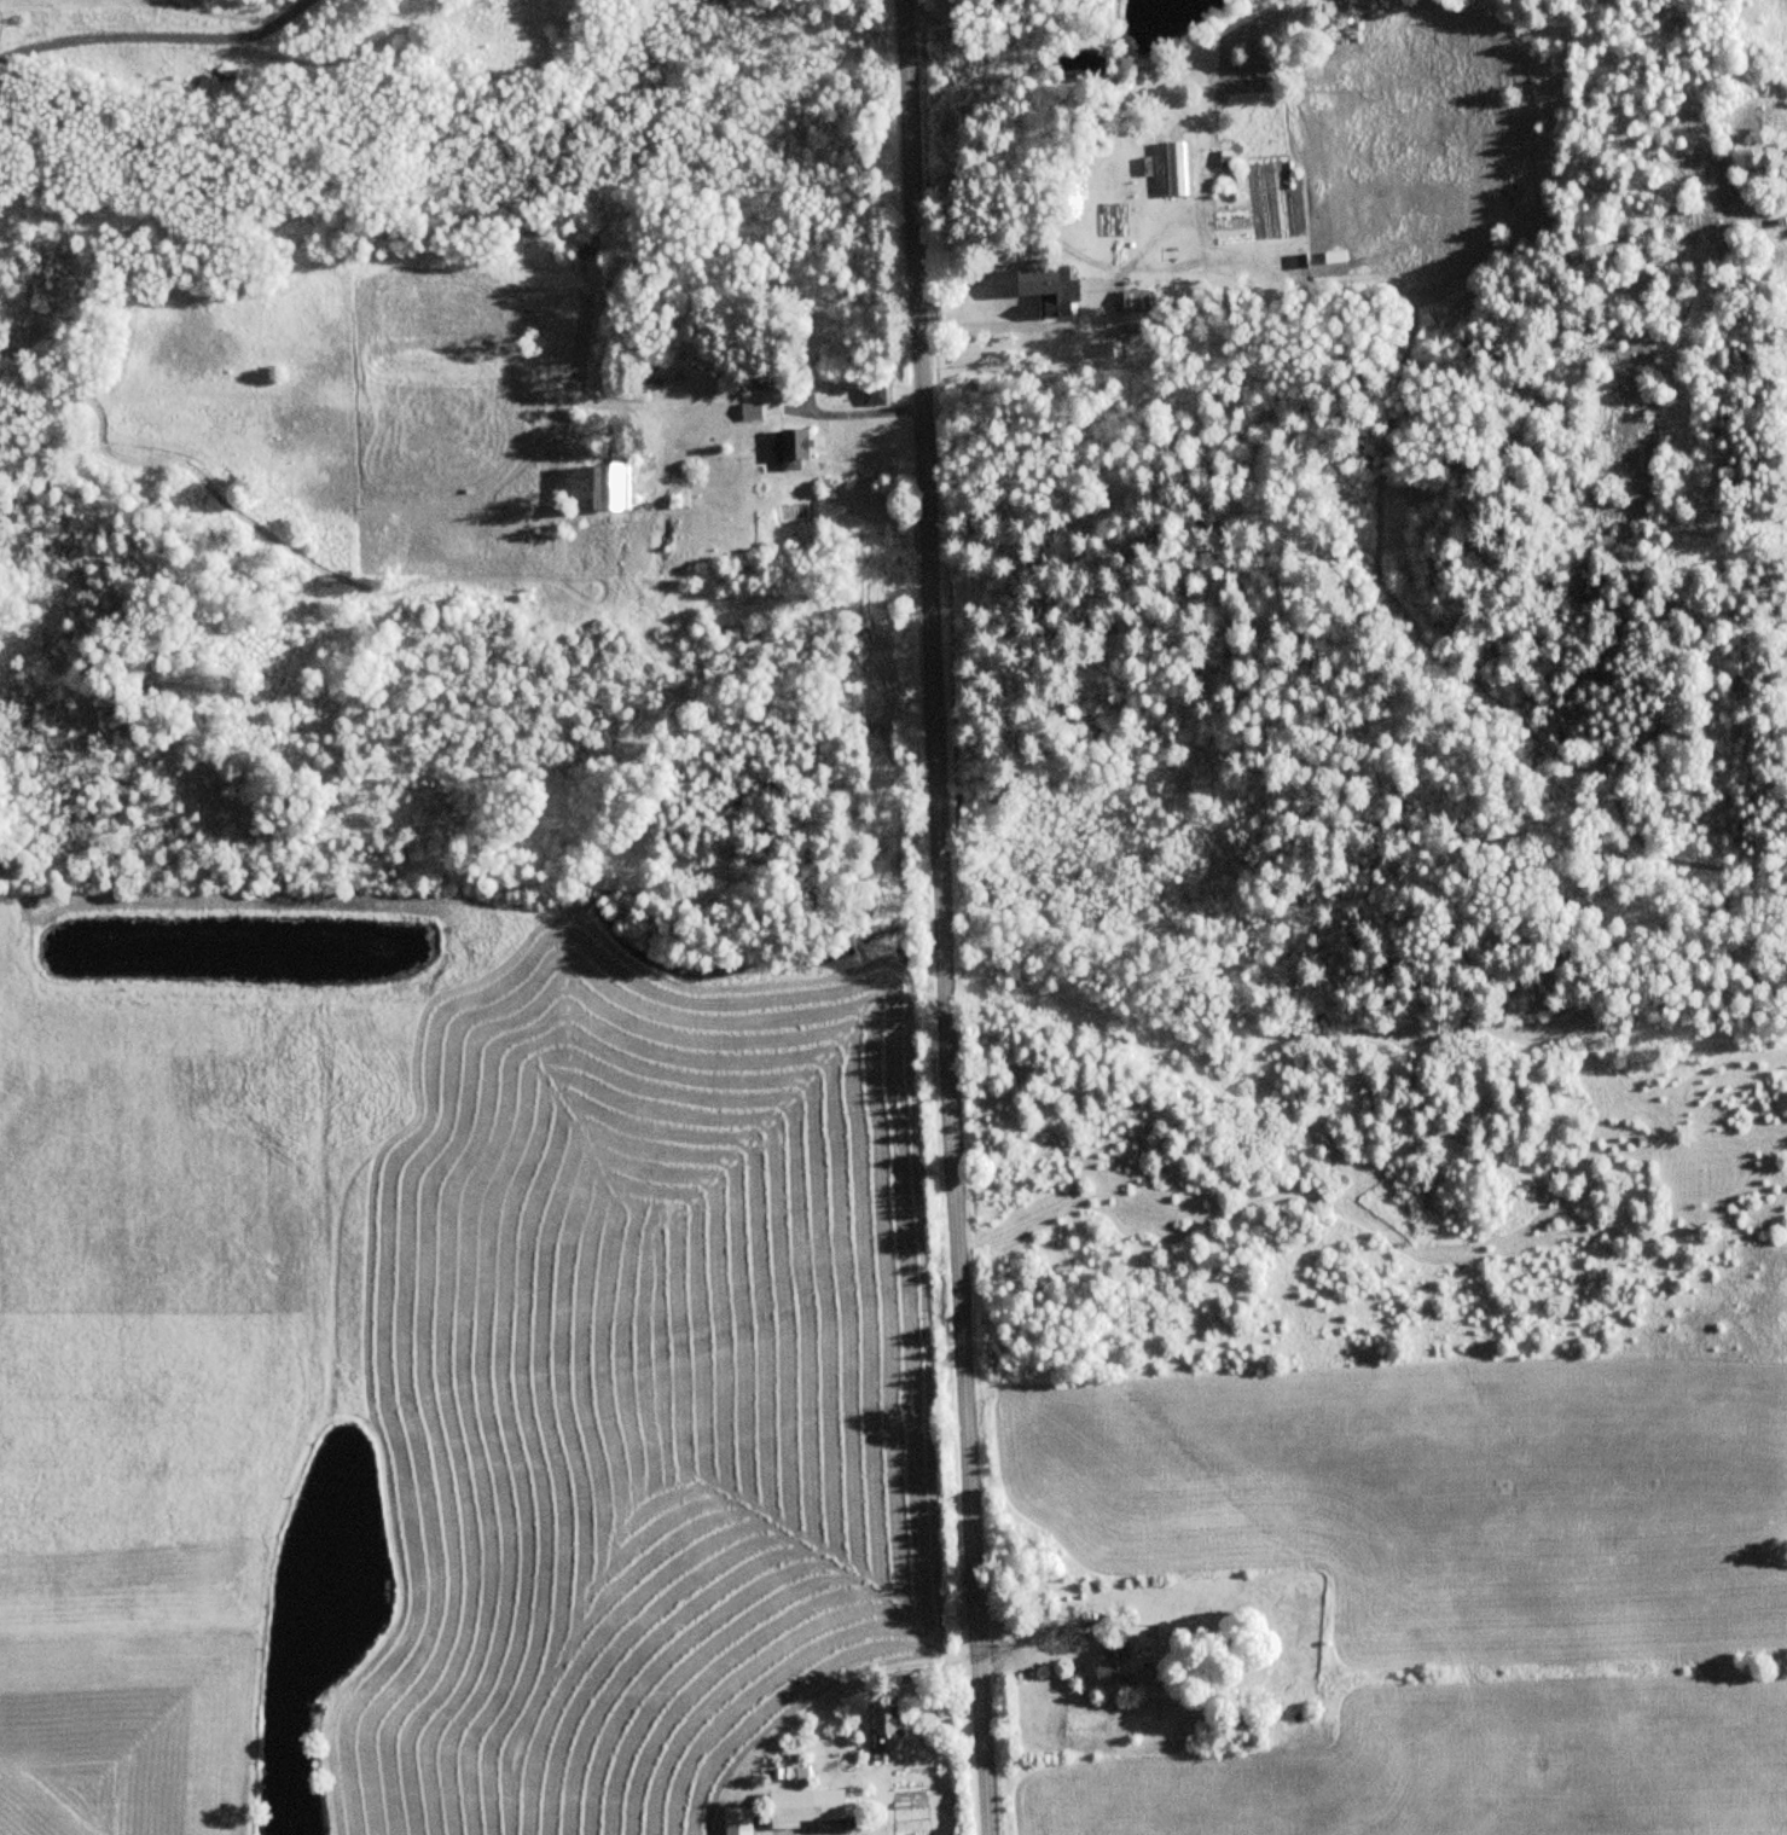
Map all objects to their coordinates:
building: (1058, 294)
building: (1137, 304)
building: (874, 394)
building: (750, 411)
building: (790, 449)
building: (607, 486)
road: (945, 917)
building: (1113, 1637)
building: (1113, 1672)
building: (886, 1725)
building: (802, 1806)
building: (736, 1821)

